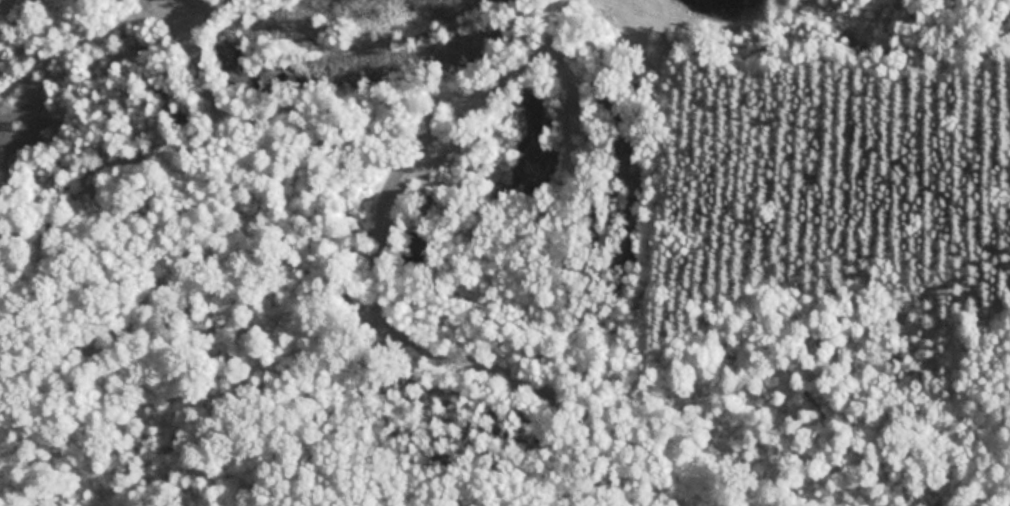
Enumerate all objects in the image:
railway: (5, 1)

